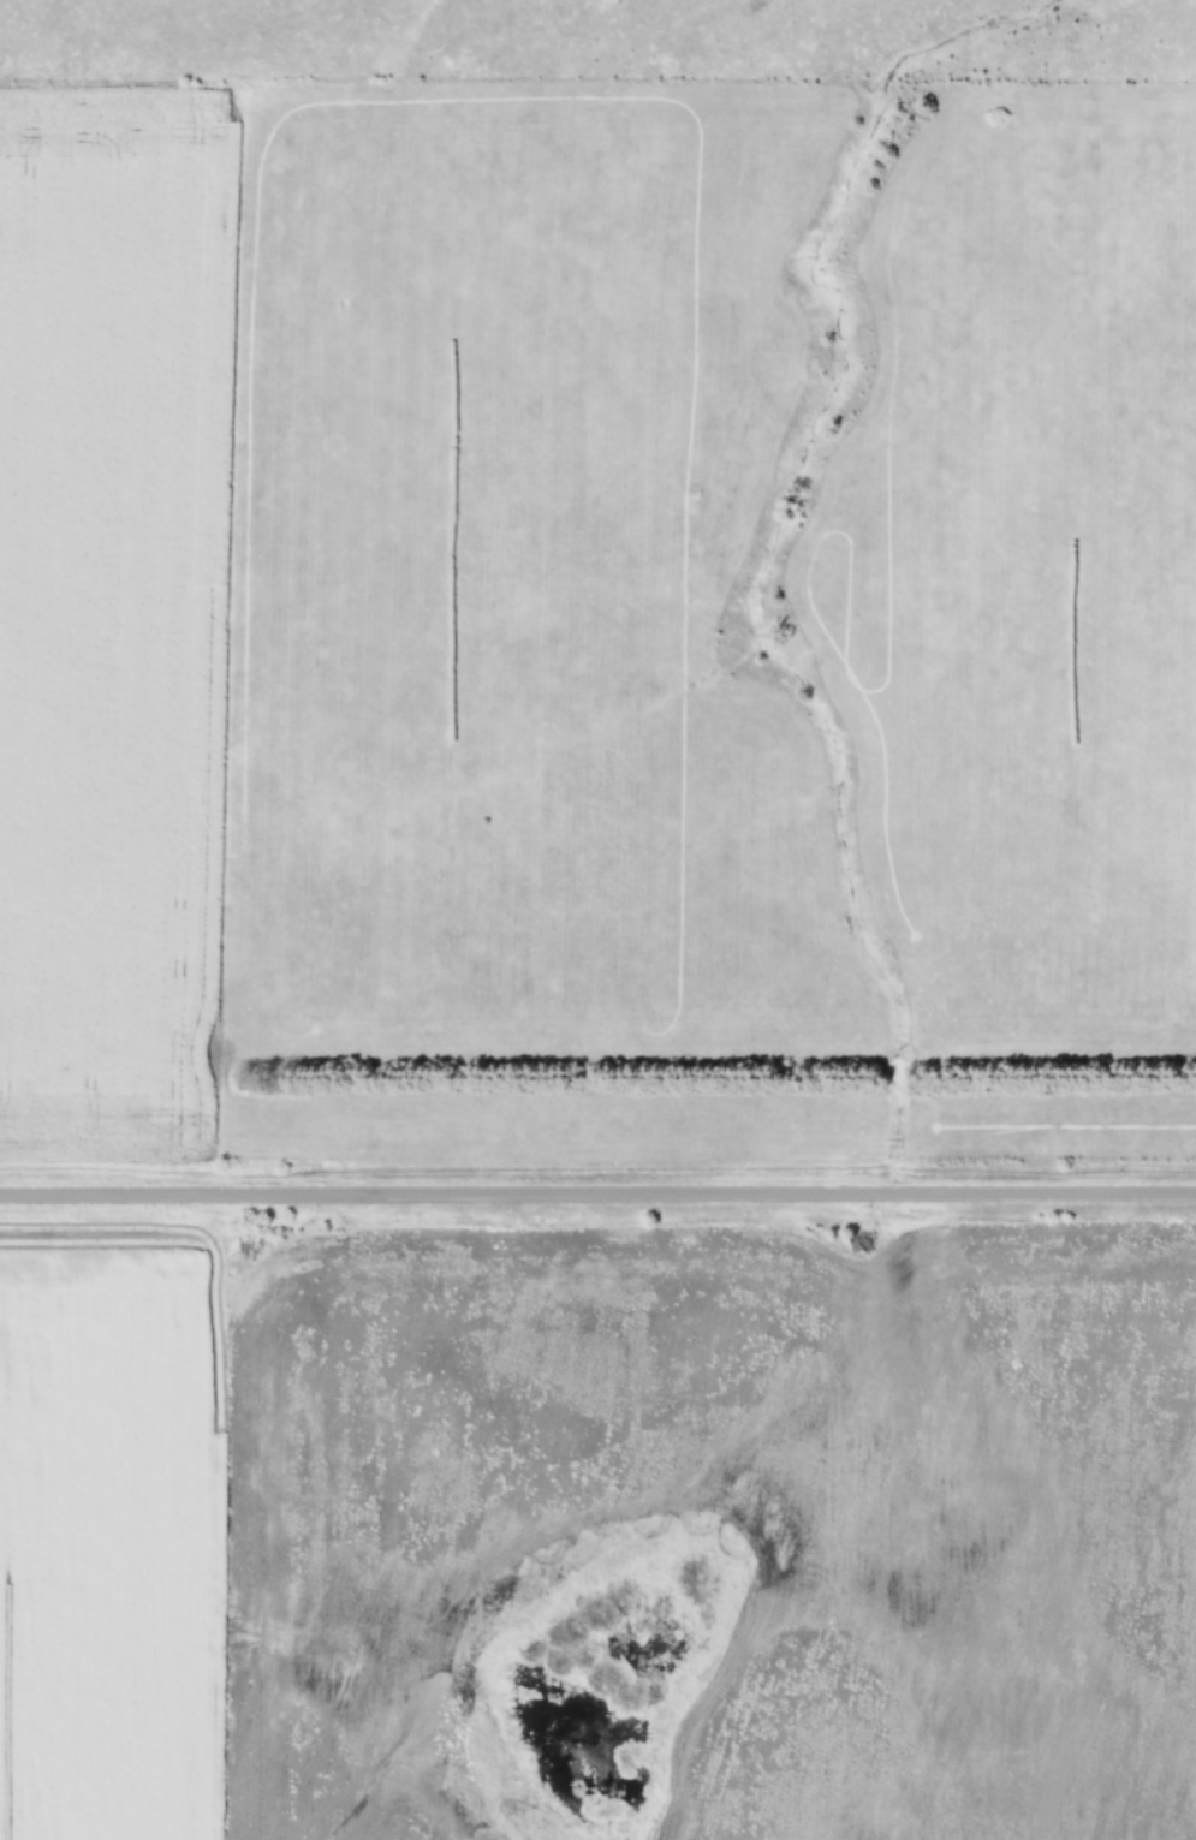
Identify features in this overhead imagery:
road: (597, 1192)

